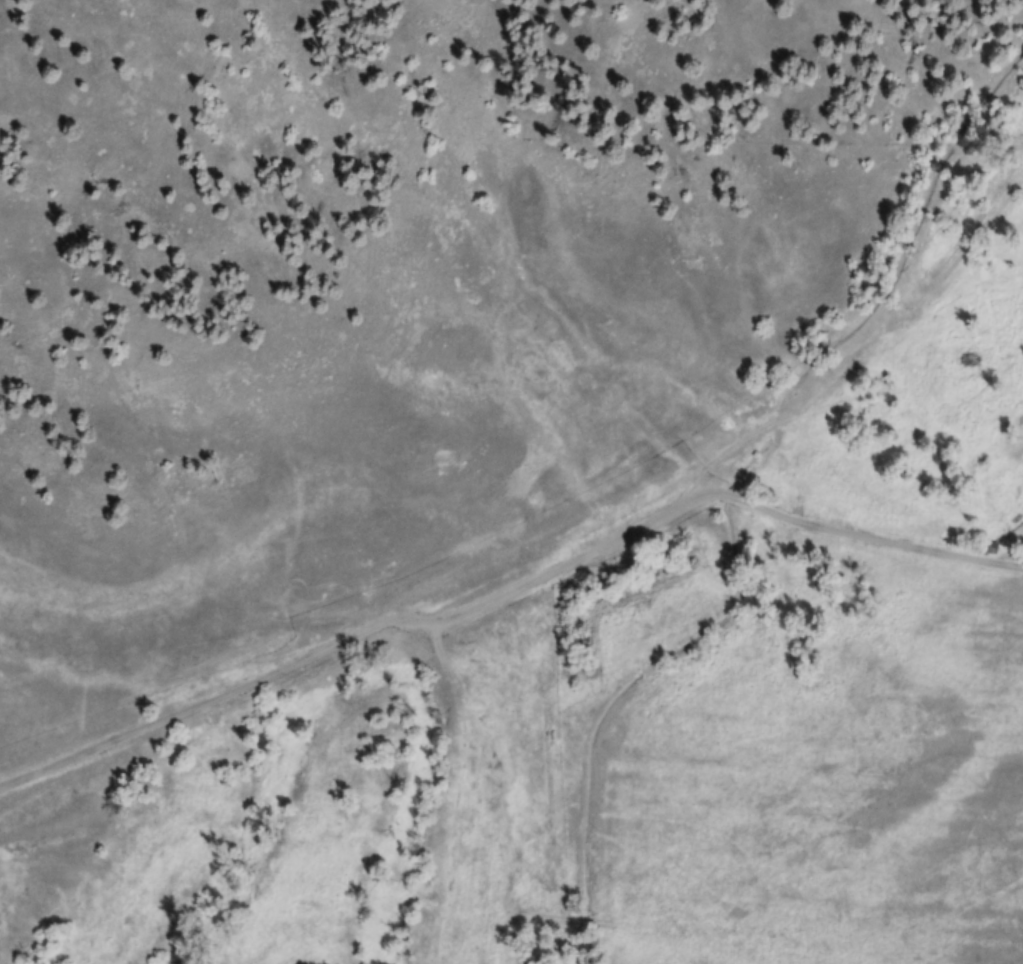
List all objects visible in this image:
building: (990, 547)
road: (509, 594)

